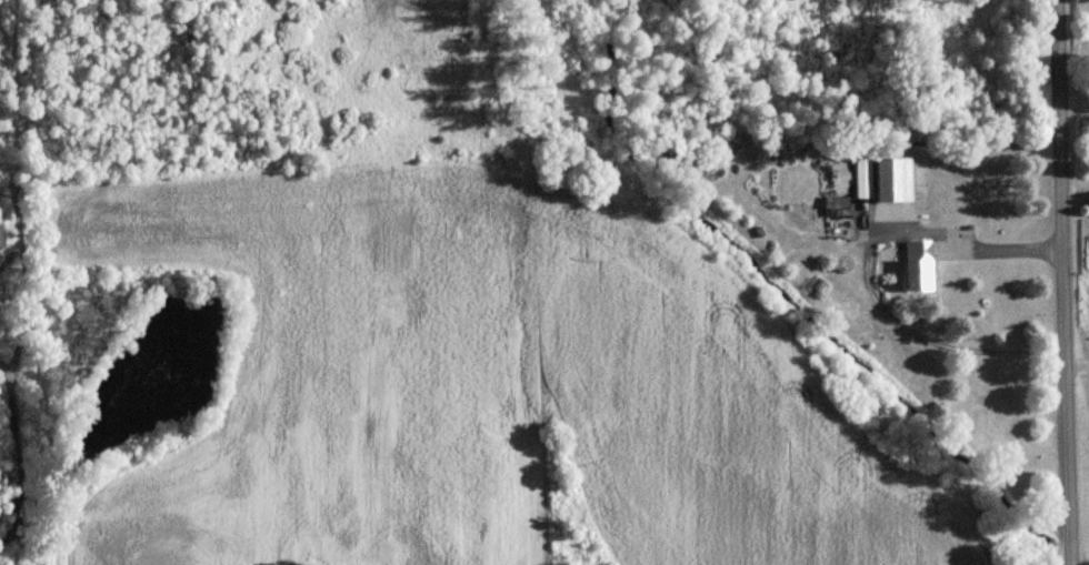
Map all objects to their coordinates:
road: (1075, 93)
road: (1076, 172)
building: (831, 216)
building: (910, 264)
road: (867, 271)
road: (1065, 282)
road: (1078, 353)
crop: (488, 387)

